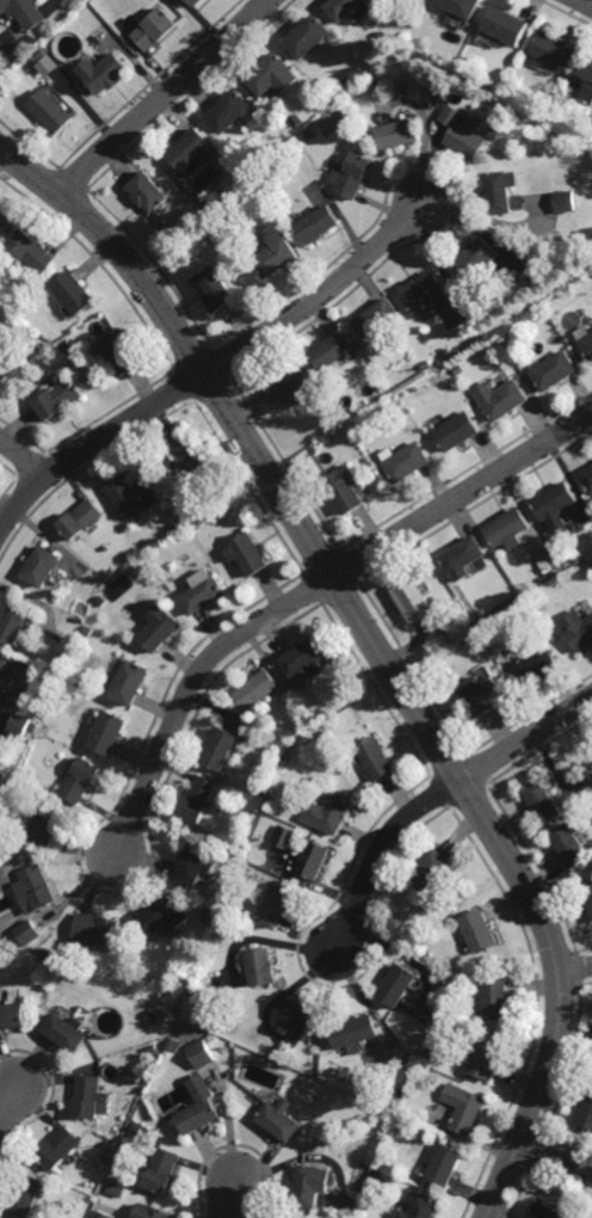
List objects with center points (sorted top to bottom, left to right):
building: (193, 1)
road: (586, 1)
road: (50, 5)
building: (461, 6)
building: (339, 7)
building: (24, 10)
road: (33, 18)
building: (505, 21)
building: (154, 26)
road: (11, 32)
building: (307, 33)
building: (382, 35)
building: (551, 49)
building: (38, 53)
building: (24, 63)
building: (42, 66)
building: (103, 69)
building: (271, 72)
building: (344, 80)
building: (585, 80)
building: (351, 88)
road: (165, 98)
building: (322, 98)
building: (50, 107)
building: (228, 107)
building: (296, 118)
building: (462, 130)
building: (397, 131)
building: (309, 134)
building: (190, 147)
building: (258, 148)
building: (352, 173)
building: (148, 189)
building: (500, 192)
building: (565, 199)
building: (5, 219)
building: (316, 222)
building: (32, 248)
building: (277, 252)
building: (5, 253)
building: (476, 256)
building: (532, 279)
building: (217, 288)
building: (423, 290)
building: (75, 291)
road: (325, 294)
building: (487, 309)
building: (37, 315)
building: (377, 316)
building: (14, 324)
building: (31, 334)
building: (585, 340)
building: (67, 343)
building: (333, 350)
building: (121, 351)
building: (0, 353)
building: (426, 364)
building: (458, 368)
building: (553, 370)
building: (291, 382)
building: (57, 398)
building: (500, 398)
building: (456, 430)
road: (95, 442)
road: (21, 455)
building: (407, 461)
building: (191, 463)
building: (587, 475)
building: (344, 488)
building: (131, 493)
road: (462, 493)
building: (556, 504)
building: (80, 518)
building: (196, 524)
building: (508, 527)
building: (172, 528)
building: (247, 553)
building: (463, 558)
building: (41, 566)
building: (548, 566)
building: (202, 592)
building: (528, 598)
building: (101, 599)
building: (412, 599)
building: (12, 625)
building: (87, 628)
building: (578, 629)
building: (160, 630)
building: (474, 634)
road: (376, 647)
building: (303, 659)
building: (2, 663)
building: (536, 665)
building: (53, 673)
building: (129, 683)
road: (187, 689)
building: (255, 690)
building: (479, 695)
building: (18, 724)
building: (107, 732)
road: (525, 738)
building: (306, 744)
building: (218, 748)
building: (375, 757)
building: (588, 761)
building: (26, 777)
building: (80, 777)
building: (266, 786)
building: (272, 795)
building: (198, 796)
building: (542, 799)
building: (328, 810)
building: (45, 826)
building: (284, 833)
building: (571, 844)
building: (239, 853)
road: (377, 854)
building: (312, 857)
building: (193, 863)
building: (431, 871)
building: (36, 886)
building: (587, 890)
building: (277, 903)
building: (164, 912)
building: (210, 916)
building: (224, 917)
building: (93, 929)
building: (479, 930)
building: (27, 931)
building: (425, 951)
building: (45, 953)
building: (261, 965)
road: (575, 968)
building: (60, 973)
building: (460, 983)
building: (397, 984)
building: (495, 998)
building: (11, 1015)
building: (295, 1016)
building: (353, 1031)
building: (64, 1032)
building: (172, 1044)
building: (152, 1048)
building: (201, 1053)
building: (485, 1053)
building: (430, 1054)
building: (273, 1065)
building: (90, 1096)
building: (391, 1102)
building: (199, 1106)
road: (7, 1107)
building: (463, 1107)
building: (586, 1111)
building: (279, 1121)
building: (350, 1121)
building: (111, 1145)
building: (58, 1148)
building: (383, 1159)
road: (555, 1161)
building: (444, 1164)
building: (161, 1170)
building: (377, 1173)
building: (310, 1185)
building: (117, 1189)
building: (24, 1195)
road: (227, 1200)
building: (421, 1207)
building: (545, 1211)
building: (150, 1212)
building: (103, 1214)

